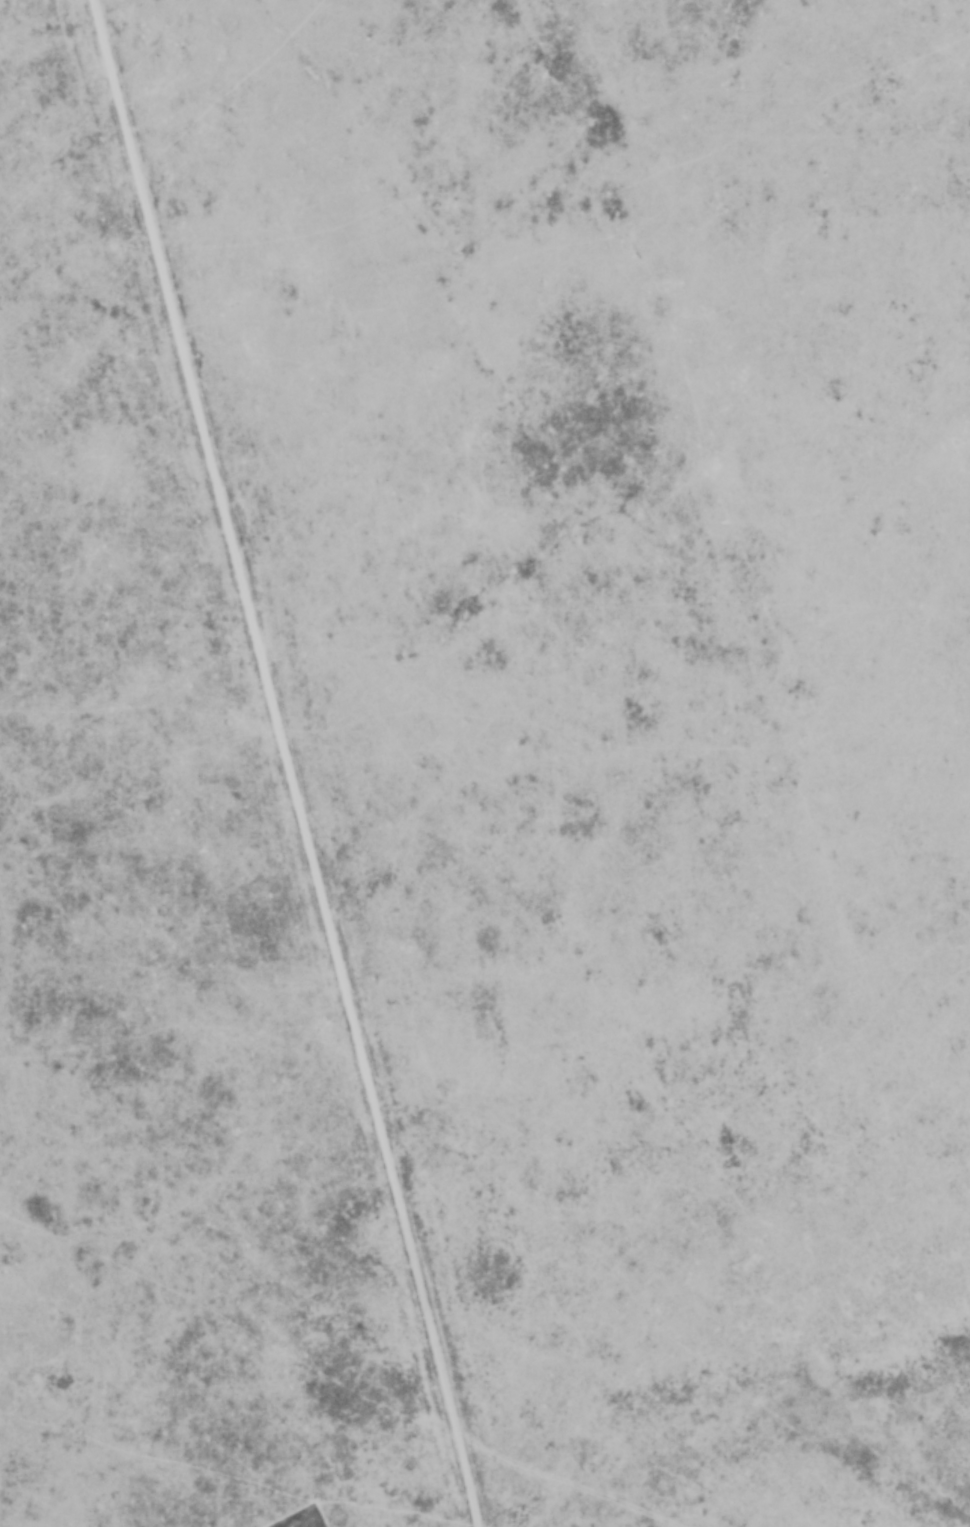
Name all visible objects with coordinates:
road: (296, 761)
road: (648, 1082)

